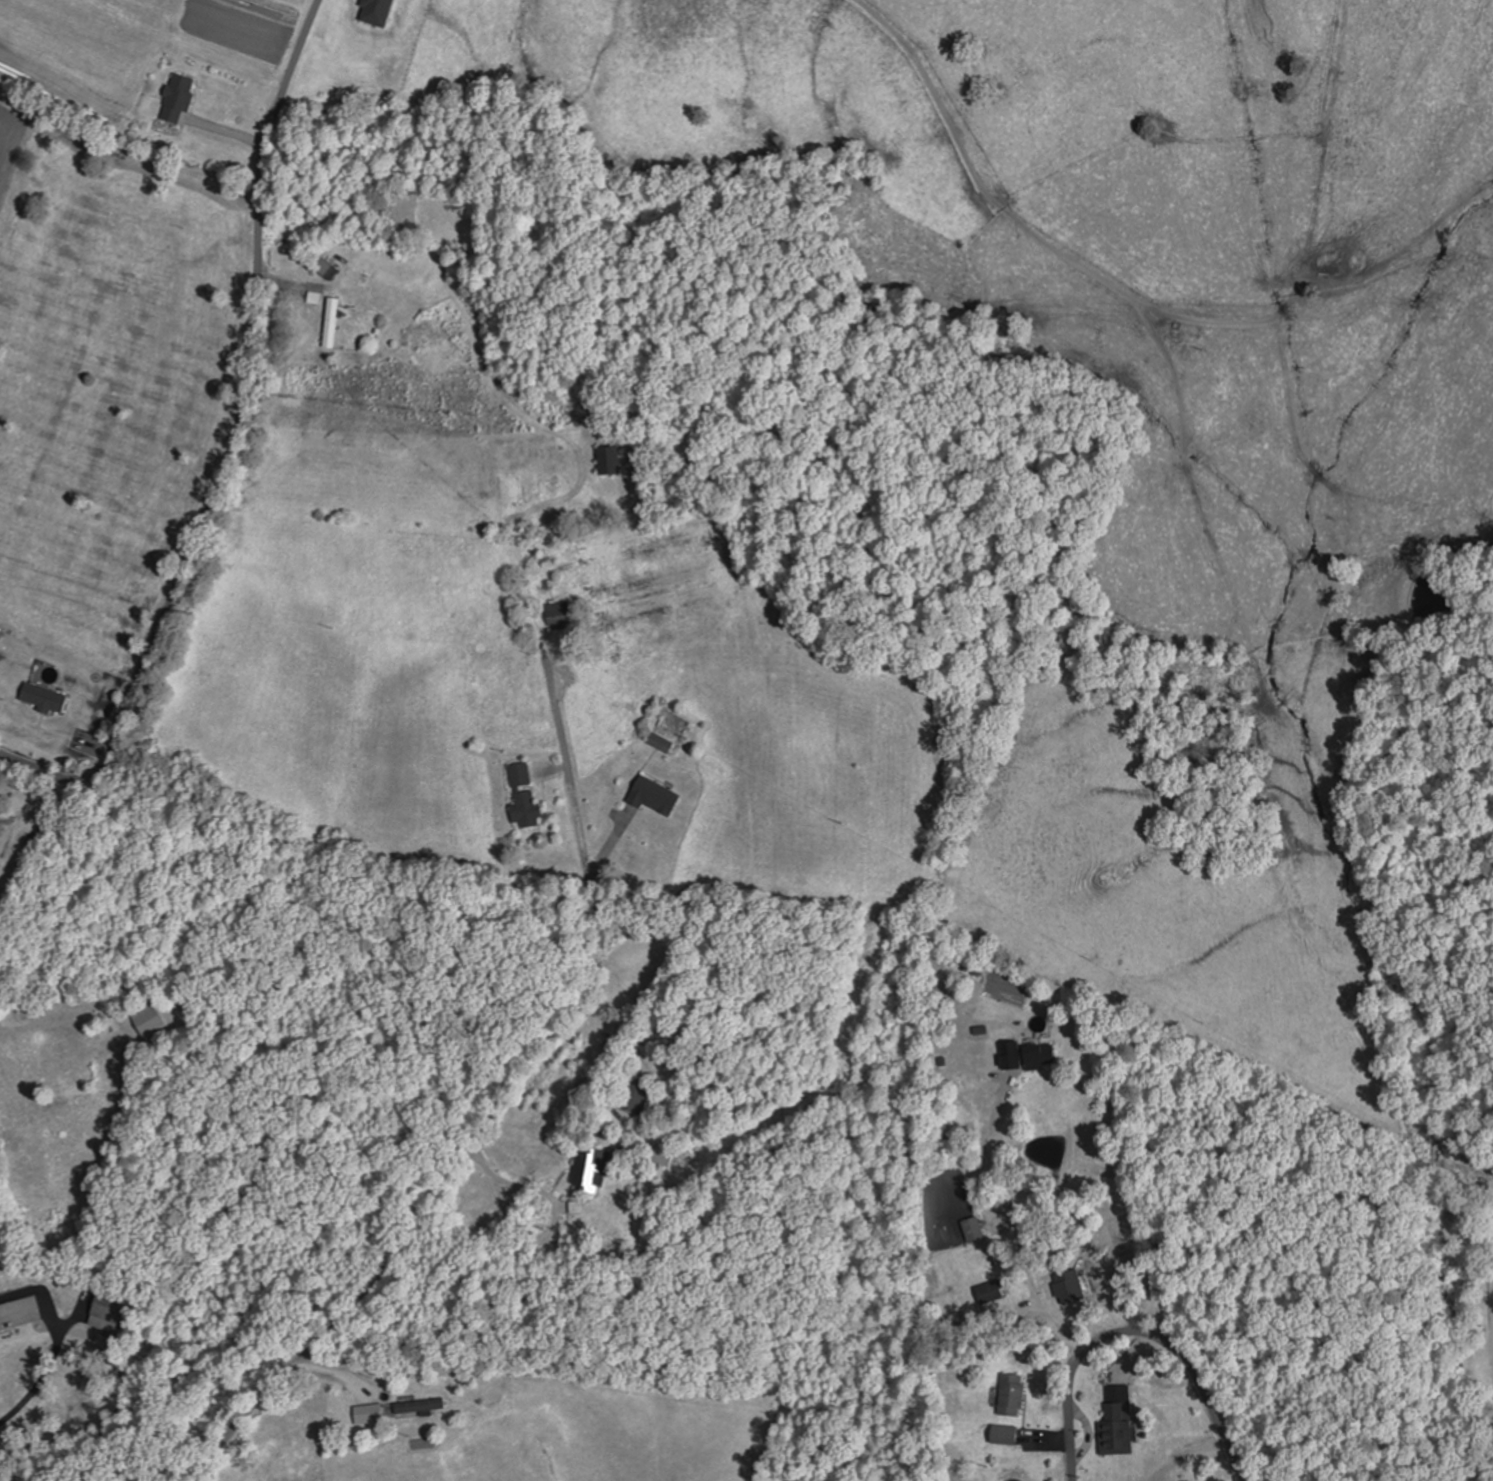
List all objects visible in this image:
building: (373, 12)
building: (175, 98)
building: (325, 268)
road: (1123, 292)
building: (331, 321)
road: (236, 447)
building: (608, 459)
building: (559, 614)
building: (42, 698)
building: (660, 743)
building: (524, 796)
building: (652, 796)
building: (151, 1023)
building: (1036, 1055)
building: (638, 1094)
road: (498, 1098)
building: (589, 1170)
building: (971, 1230)
building: (988, 1292)
building: (108, 1314)
road: (1137, 1330)
building: (1010, 1395)
building: (391, 1411)
building: (1113, 1429)
building: (1001, 1435)

